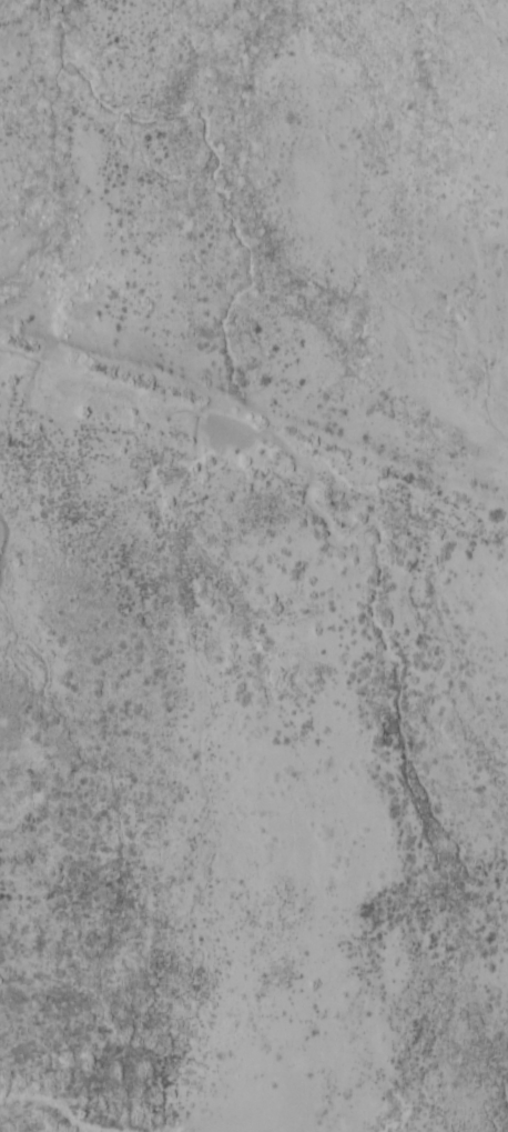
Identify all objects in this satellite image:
river: (277, 415)
river: (504, 1108)

